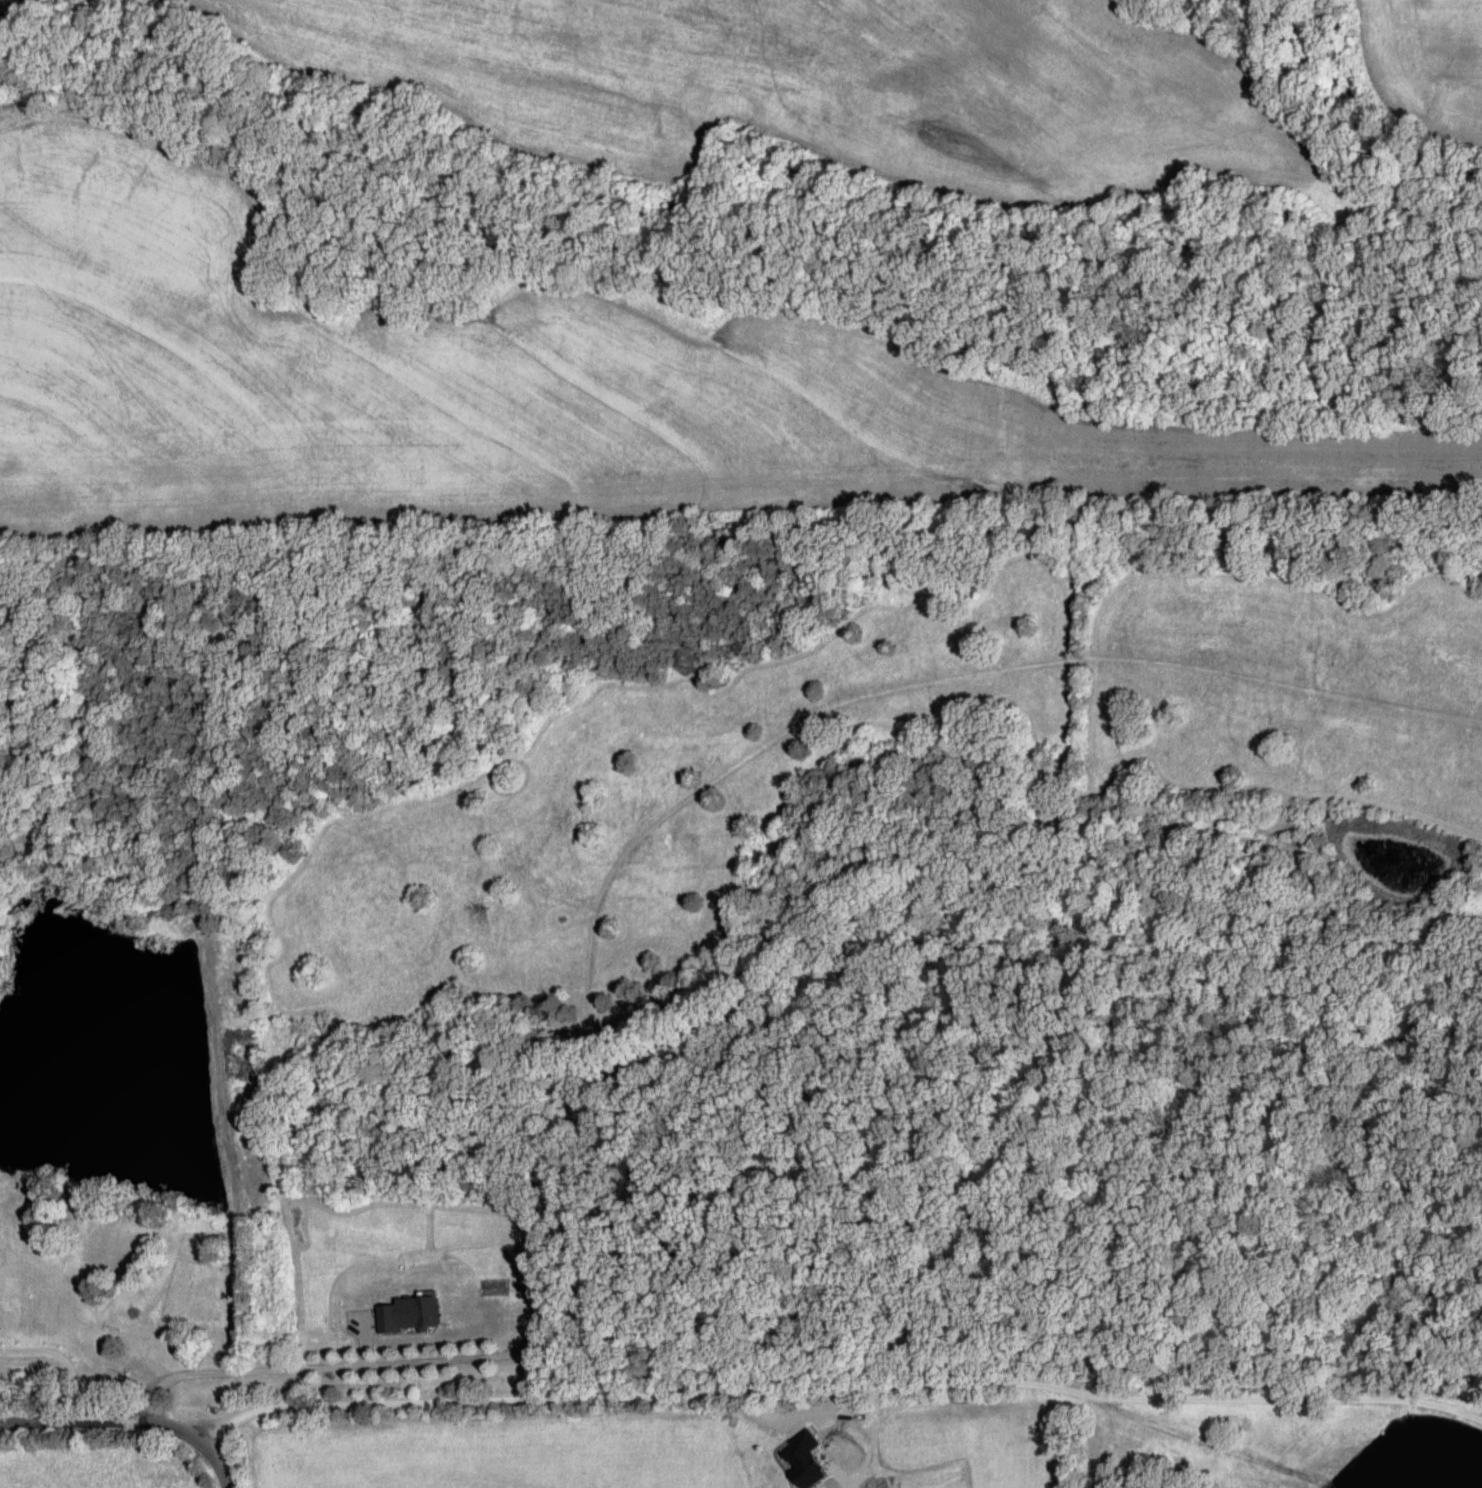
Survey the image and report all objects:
road: (777, 1395)
road: (133, 1437)

